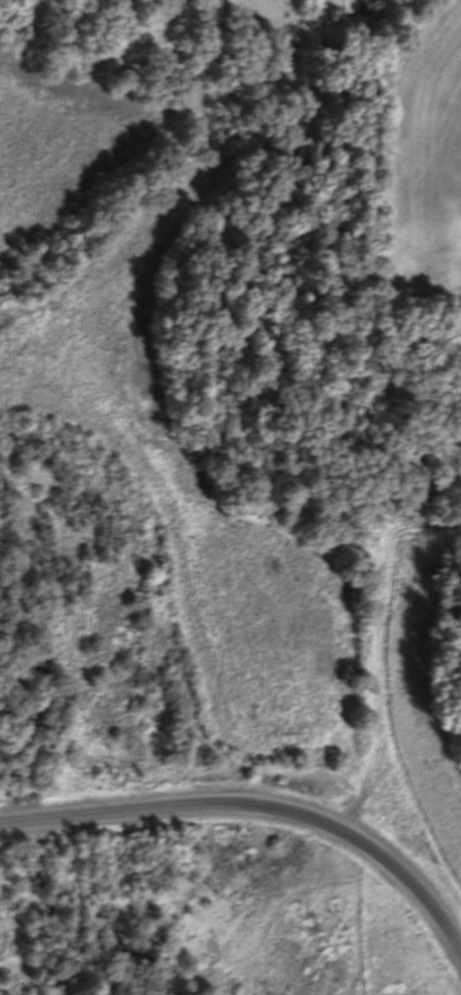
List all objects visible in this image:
road: (259, 803)

